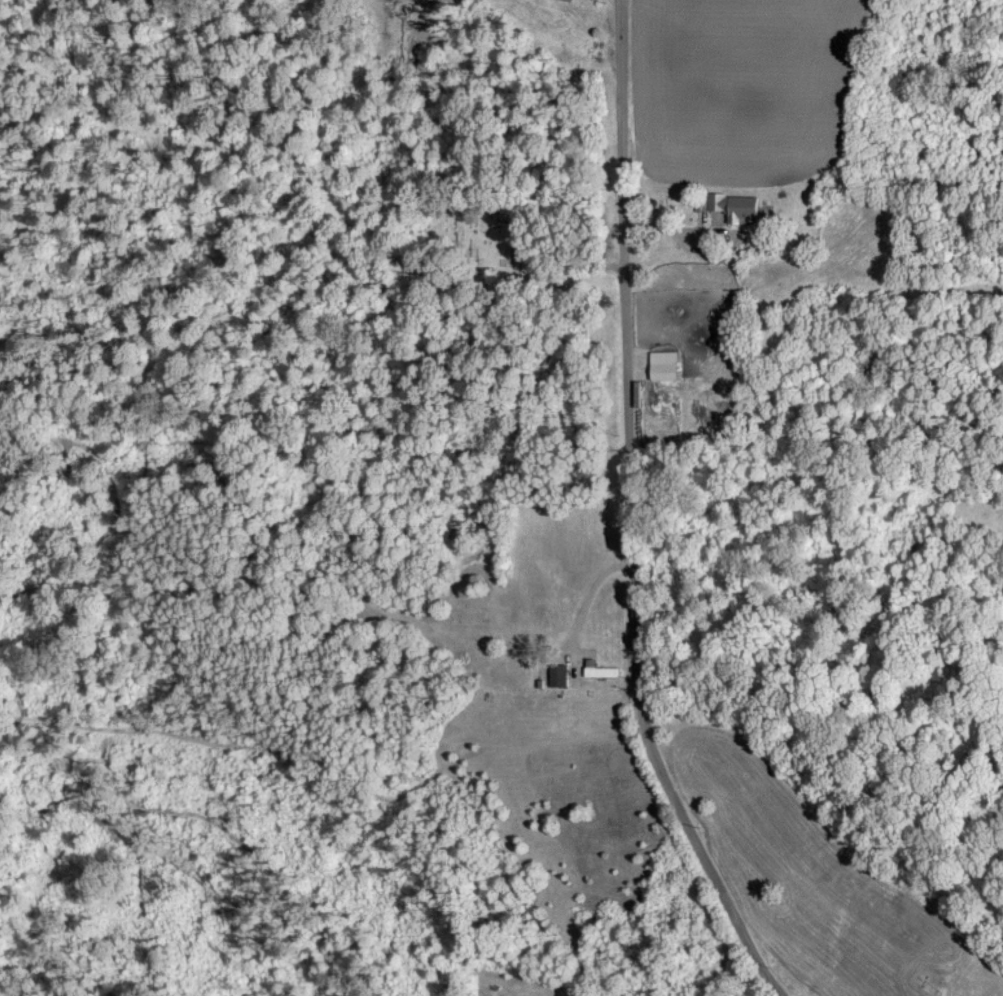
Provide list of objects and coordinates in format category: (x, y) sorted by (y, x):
building: (728, 205)
building: (660, 364)
road: (628, 515)
building: (555, 674)

